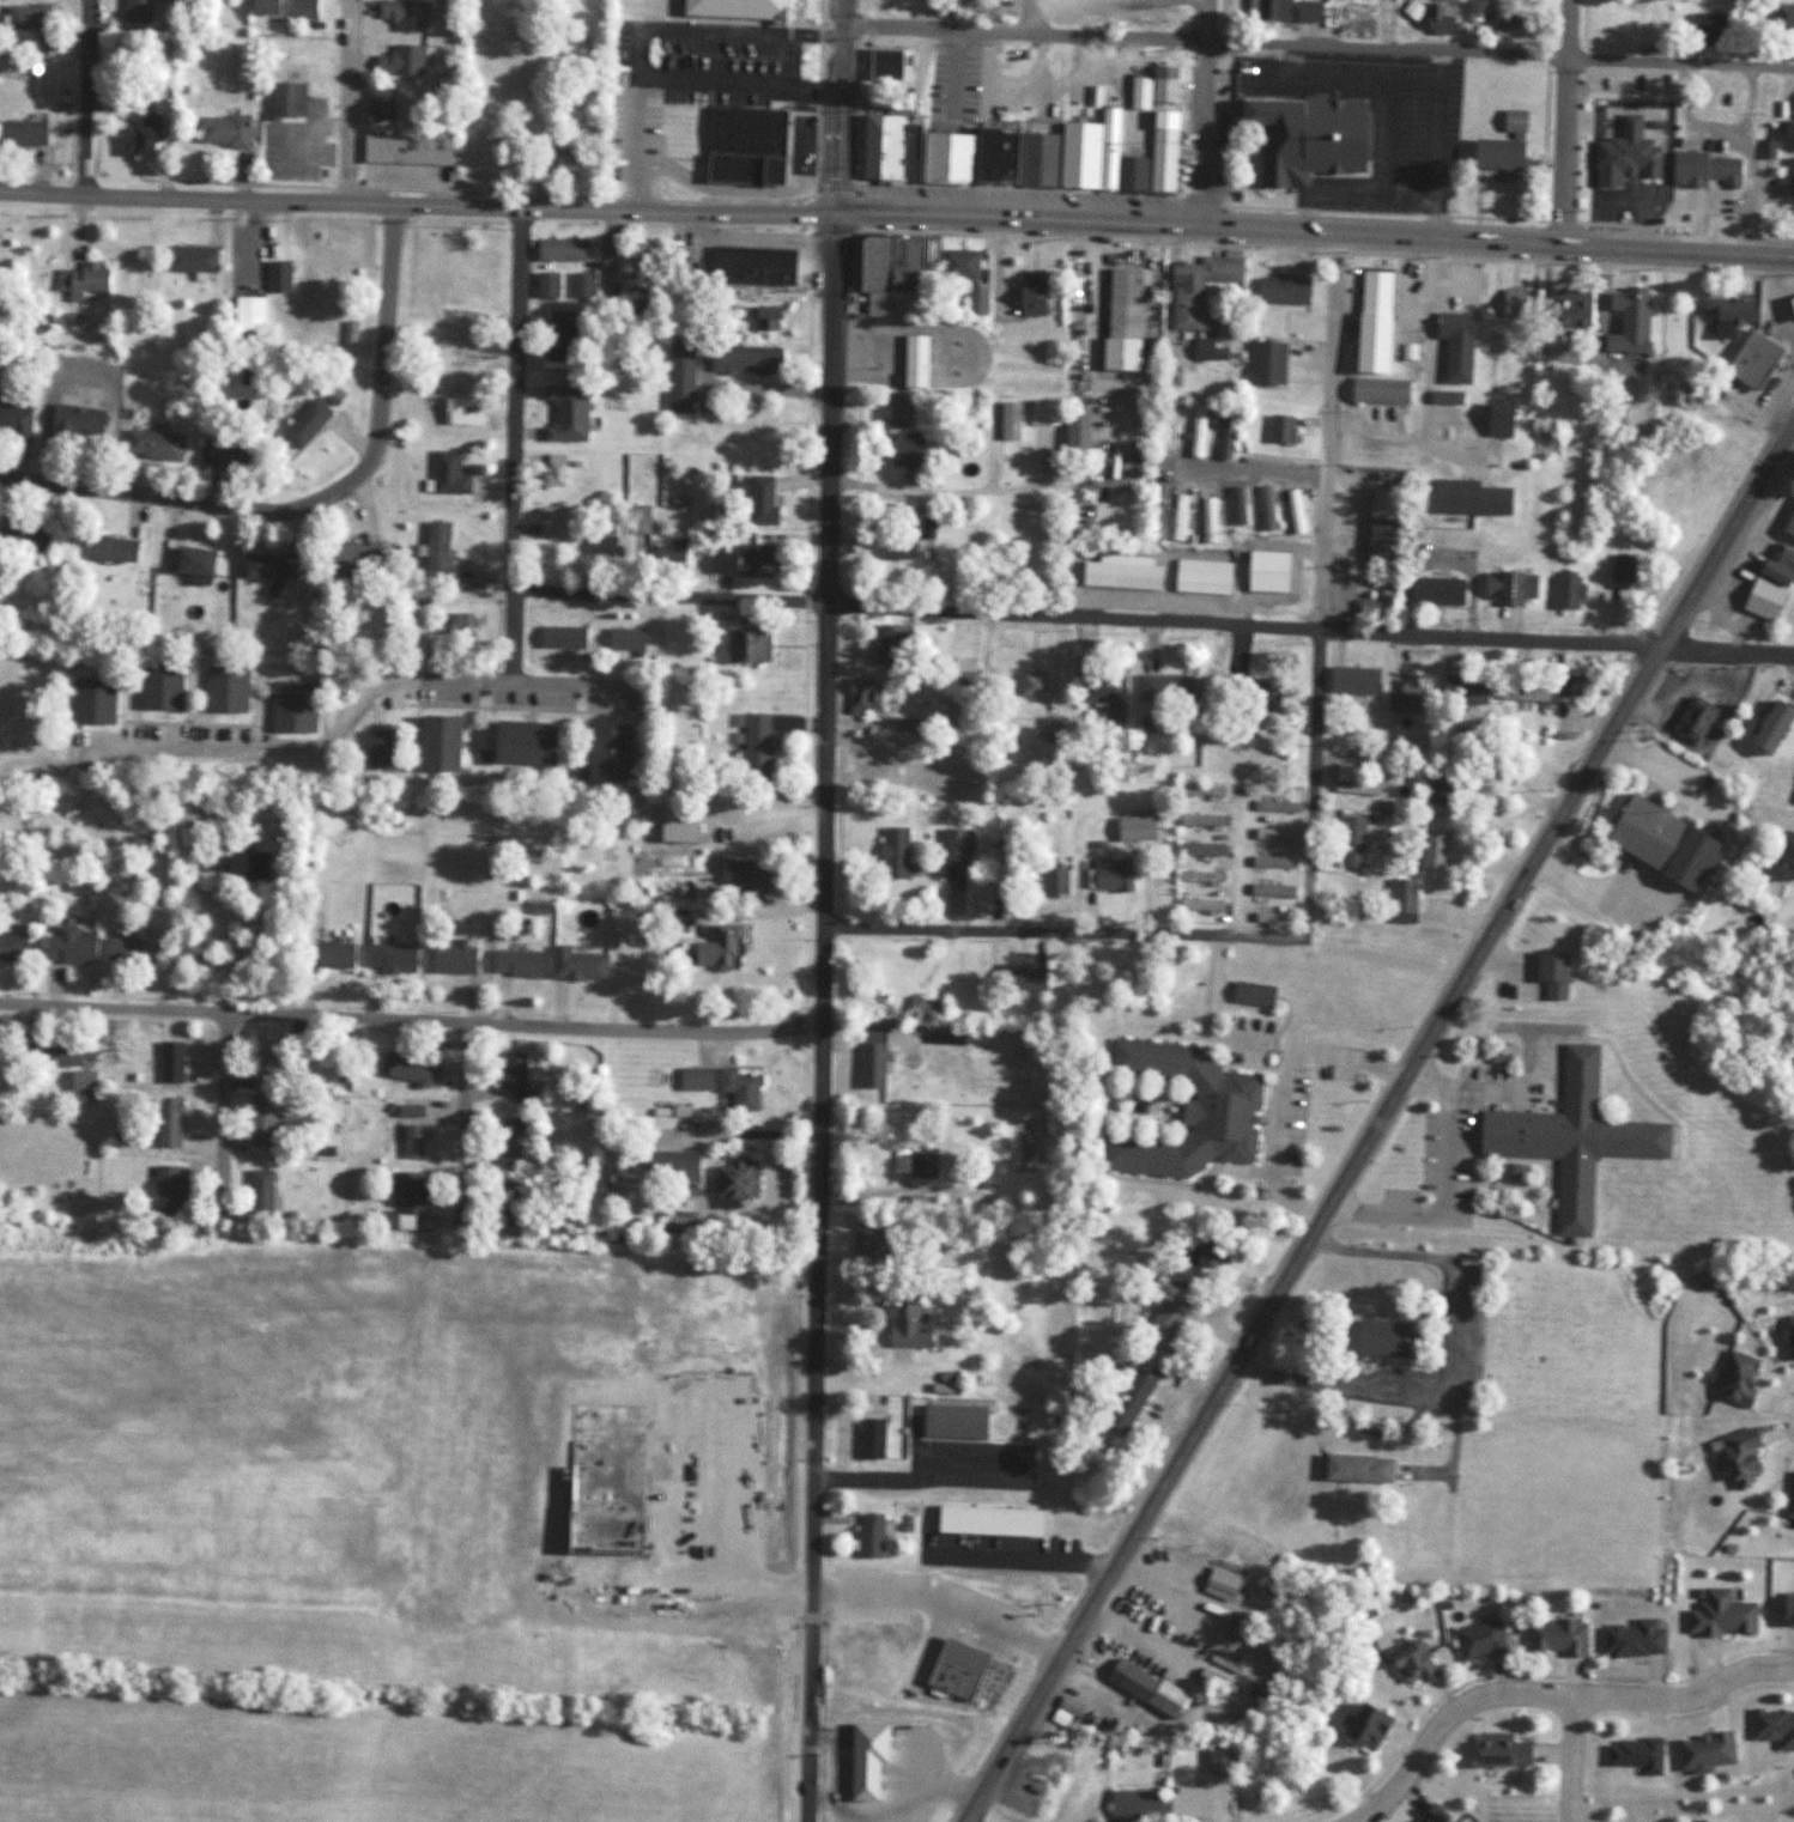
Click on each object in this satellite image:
building: (958, 2)
building: (897, 4)
building: (260, 7)
building: (302, 8)
building: (1267, 10)
building: (137, 11)
building: (1305, 11)
building: (404, 14)
building: (1504, 16)
building: (1783, 16)
building: (23, 17)
road: (1029, 17)
building: (1437, 18)
building: (1707, 24)
building: (780, 41)
building: (43, 43)
road: (1315, 44)
building: (400, 61)
parking lot: (707, 61)
building: (885, 65)
building: (244, 72)
road: (86, 96)
building: (286, 101)
road: (349, 102)
building: (381, 105)
road: (836, 105)
road: (1205, 111)
road: (1685, 119)
road: (1565, 120)
building: (1511, 121)
parking lot: (1376, 126)
building: (222, 130)
building: (22, 134)
building: (144, 138)
building: (1303, 138)
building: (744, 146)
building: (1030, 148)
building: (406, 150)
building: (1766, 152)
building: (1492, 154)
building: (1624, 156)
road: (1745, 159)
building: (564, 160)
building: (625, 168)
building: (677, 169)
building: (1703, 170)
building: (1789, 177)
road: (480, 192)
road: (840, 192)
road: (417, 206)
road: (862, 211)
road: (817, 212)
road: (1375, 212)
road: (1562, 221)
road: (1685, 225)
road: (454, 226)
road: (1315, 230)
road: (840, 231)
building: (560, 250)
building: (190, 259)
building: (328, 263)
building: (752, 265)
building: (958, 265)
building: (890, 275)
building: (278, 277)
building: (83, 280)
building: (547, 285)
building: (582, 285)
building: (1196, 290)
building: (1281, 292)
building: (1030, 298)
building: (977, 302)
gas station: (1792, 304)
building: (1514, 305)
building: (1790, 309)
building: (1566, 310)
building: (248, 315)
building: (1725, 316)
building: (764, 318)
building: (1371, 321)
building: (1625, 321)
building: (1121, 322)
building: (559, 334)
building: (1454, 346)
building: (1207, 351)
gas station: (1754, 356)
building: (744, 360)
building: (1750, 360)
building: (911, 362)
building: (1263, 363)
building: (680, 378)
building: (1377, 390)
building: (899, 409)
building: (459, 411)
building: (1042, 412)
building: (1008, 420)
building: (14, 421)
building: (75, 421)
building: (303, 423)
building: (1277, 429)
building: (1198, 430)
road: (1329, 432)
building: (1226, 433)
building: (1074, 435)
building: (1546, 439)
building: (153, 445)
road: (515, 445)
building: (905, 449)
building: (226, 454)
road: (1254, 469)
building: (554, 470)
building: (448, 474)
road: (956, 491)
building: (752, 496)
road: (316, 499)
building: (1237, 503)
building: (1266, 508)
building: (1295, 511)
building: (1153, 515)
building: (1178, 517)
building: (1207, 518)
building: (640, 520)
building: (552, 522)
building: (1788, 523)
building: (1377, 526)
building: (25, 539)
building: (897, 541)
building: (602, 547)
building: (105, 548)
building: (437, 555)
building: (341, 558)
building: (667, 558)
building: (190, 561)
building: (754, 561)
building: (721, 563)
building: (266, 565)
building: (1776, 566)
building: (1620, 569)
building: (1121, 572)
building: (1266, 572)
building: (1201, 577)
building: (1507, 588)
building: (1565, 590)
building: (1435, 591)
road: (669, 597)
building: (1759, 599)
building: (460, 626)
road: (1310, 632)
building: (562, 637)
building: (625, 639)
building: (892, 642)
building: (746, 646)
building: (1351, 681)
building: (1031, 682)
building: (1566, 687)
building: (158, 688)
building: (224, 691)
building: (1163, 691)
building: (1460, 692)
building: (1521, 692)
building: (862, 693)
building: (620, 696)
building: (1104, 696)
building: (1257, 698)
building: (1406, 698)
building: (92, 702)
building: (290, 707)
road: (353, 717)
building: (1691, 719)
building: (1051, 727)
building: (1766, 728)
building: (520, 743)
building: (754, 745)
building: (435, 746)
building: (375, 748)
building: (608, 753)
building: (875, 755)
building: (1351, 783)
road: (1309, 788)
building: (1201, 789)
building: (1437, 791)
building: (1277, 804)
building: (71, 806)
building: (186, 810)
building: (1199, 819)
building: (1132, 827)
building: (680, 832)
building: (1274, 833)
building: (1641, 833)
building: (1348, 840)
building: (953, 843)
building: (1199, 848)
building: (1430, 849)
building: (892, 851)
building: (232, 858)
building: (1783, 858)
building: (1272, 861)
road: (1238, 869)
building: (1110, 873)
building: (1200, 875)
building: (1053, 876)
building: (747, 880)
building: (1269, 889)
building: (1400, 899)
building: (1199, 904)
road: (1062, 931)
building: (11, 945)
building: (66, 946)
building: (717, 947)
building: (121, 949)
building: (332, 953)
building: (389, 956)
building: (451, 956)
building: (515, 961)
building: (576, 962)
building: (886, 966)
building: (1550, 972)
building: (1018, 977)
building: (1249, 992)
building: (927, 1007)
road: (824, 1016)
road: (411, 1020)
building: (48, 1051)
building: (170, 1062)
building: (261, 1063)
building: (868, 1063)
building: (410, 1070)
building: (511, 1071)
building: (693, 1079)
building: (84, 1086)
building: (738, 1087)
road: (1283, 1089)
building: (1176, 1110)
road: (219, 1113)
building: (257, 1120)
building: (165, 1122)
road: (1378, 1122)
road: (467, 1123)
building: (414, 1131)
building: (1569, 1137)
building: (509, 1141)
building: (668, 1165)
building: (873, 1171)
building: (1509, 1172)
building: (732, 1179)
road: (1444, 1185)
building: (165, 1188)
building: (259, 1190)
building: (503, 1196)
building: (400, 1198)
building: (547, 1229)
building: (867, 1240)
building: (1205, 1255)
building: (903, 1323)
building: (1162, 1323)
building: (1789, 1335)
building: (1376, 1337)
road: (1462, 1359)
building: (1734, 1377)
building: (1127, 1401)
road: (1782, 1415)
building: (951, 1421)
building: (869, 1429)
building: (1735, 1457)
parking lot: (971, 1464)
building: (1356, 1468)
road: (914, 1471)
parking lot: (705, 1483)
building: (608, 1486)
building: (1789, 1498)
building: (867, 1535)
parking lot: (998, 1542)
road: (1018, 1559)
road: (939, 1605)
parking lot: (933, 1609)
building: (1784, 1609)
building: (1719, 1615)
building: (1553, 1636)
building: (1477, 1640)
building: (1631, 1640)
building: (1407, 1664)
building: (958, 1669)
road: (1540, 1676)
building: (1144, 1688)
road: (1551, 1695)
road: (1731, 1695)
building: (1772, 1726)
building: (1362, 1727)
building: (1498, 1750)
building: (1702, 1750)
building: (867, 1753)
building: (1634, 1754)
road: (830, 1759)
road: (1571, 1759)
building: (1217, 1760)
building: (1186, 1802)
building: (1132, 1803)
road: (1586, 1803)
road: (891, 1808)
building: (1431, 1815)
building: (1699, 1820)

